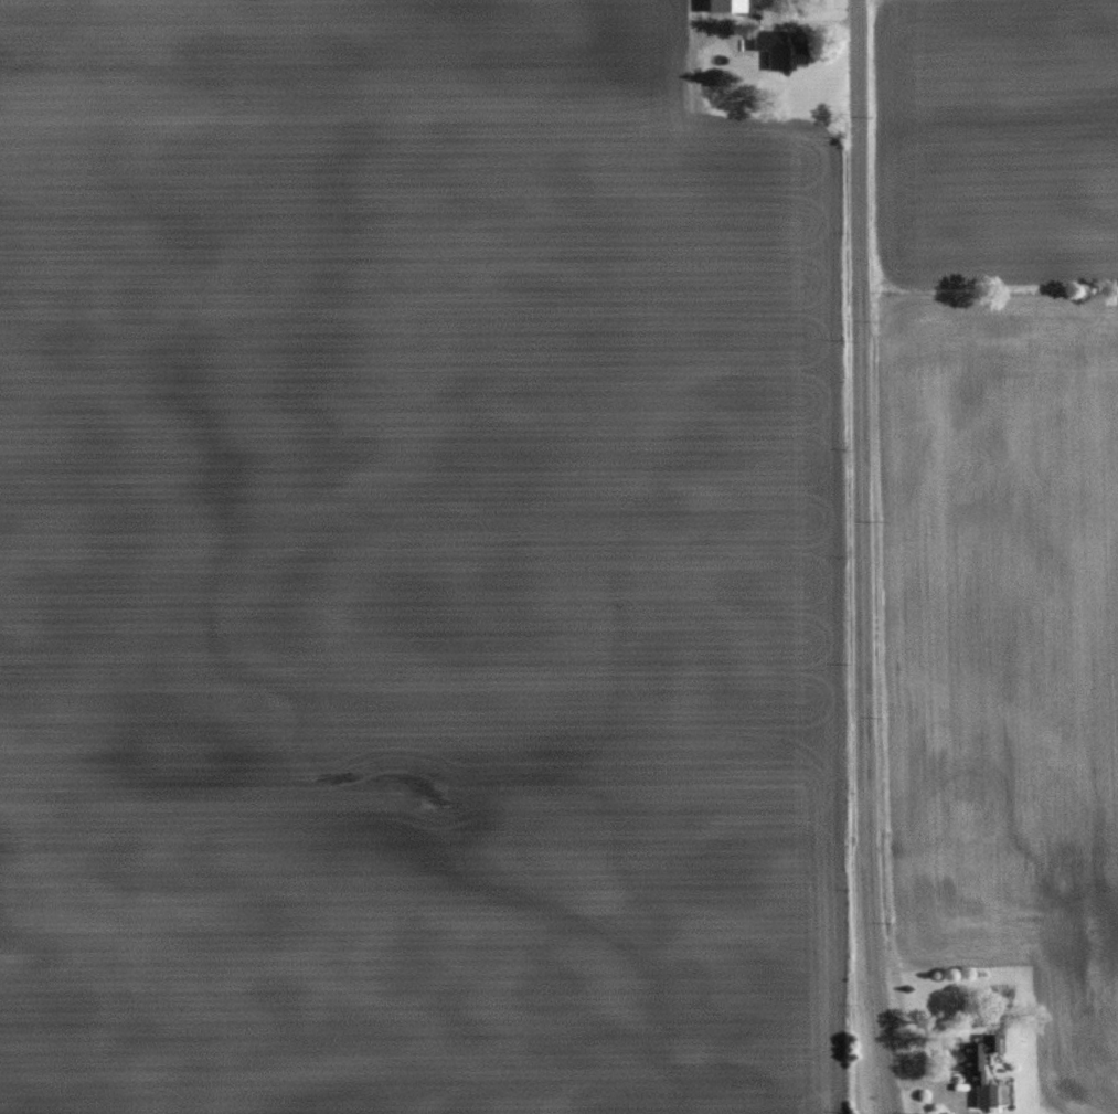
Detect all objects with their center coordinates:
building: (776, 49)
road: (861, 558)
building: (972, 1072)

